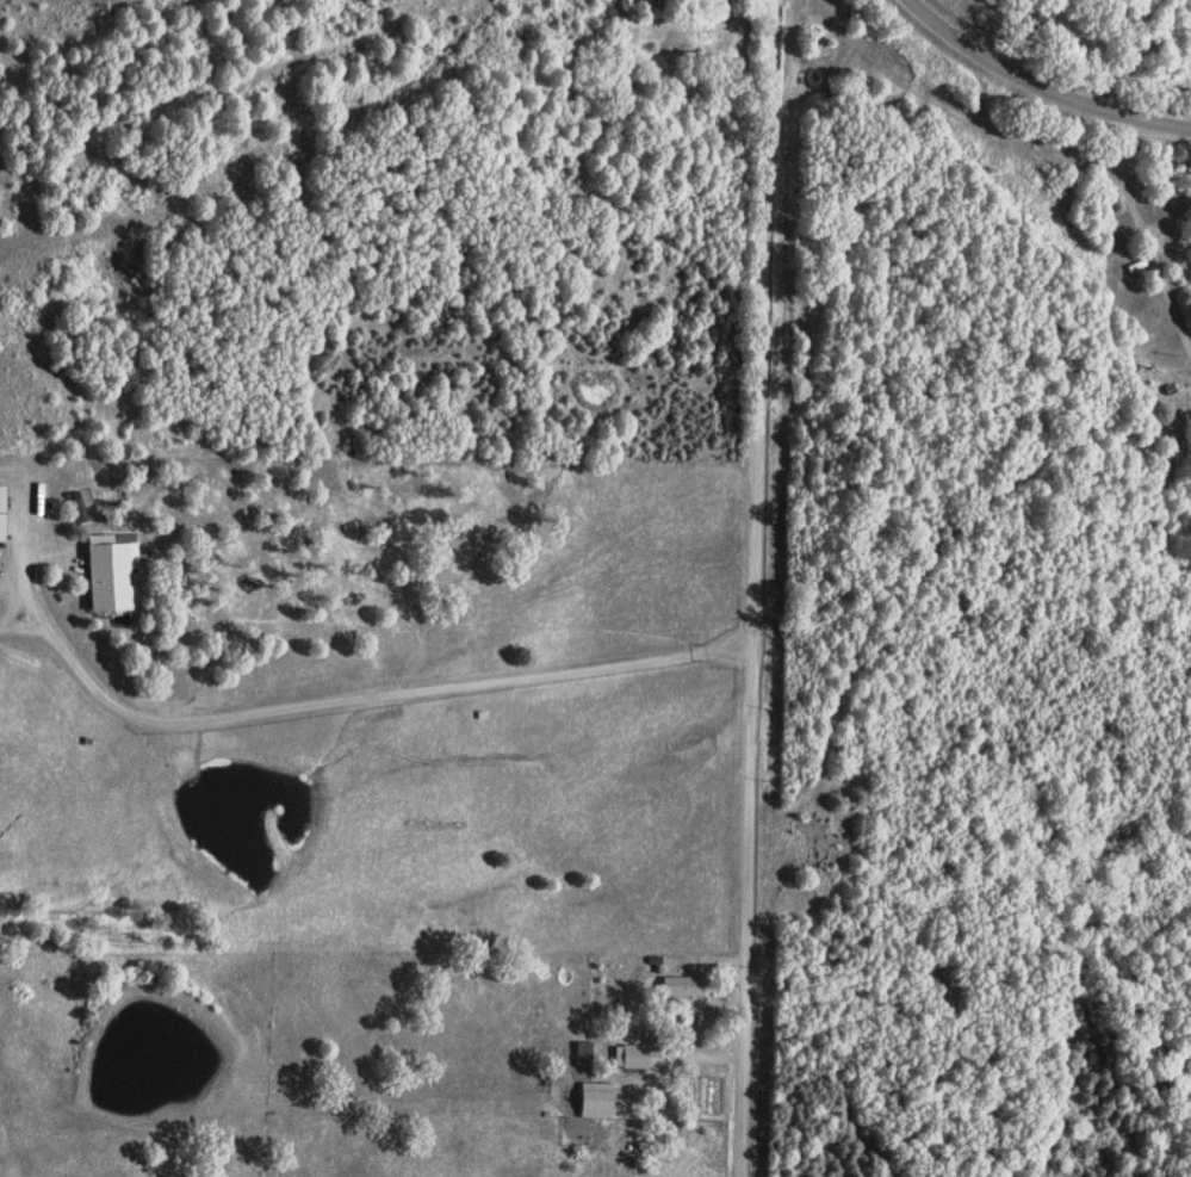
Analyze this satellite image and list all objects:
road: (1040, 86)
road: (1147, 215)
road: (759, 409)
building: (82, 509)
building: (4, 512)
road: (29, 519)
building: (113, 569)
road: (930, 576)
road: (18, 606)
road: (358, 699)
building: (684, 986)
road: (746, 998)
building: (587, 1053)
building: (633, 1055)
building: (598, 1099)

